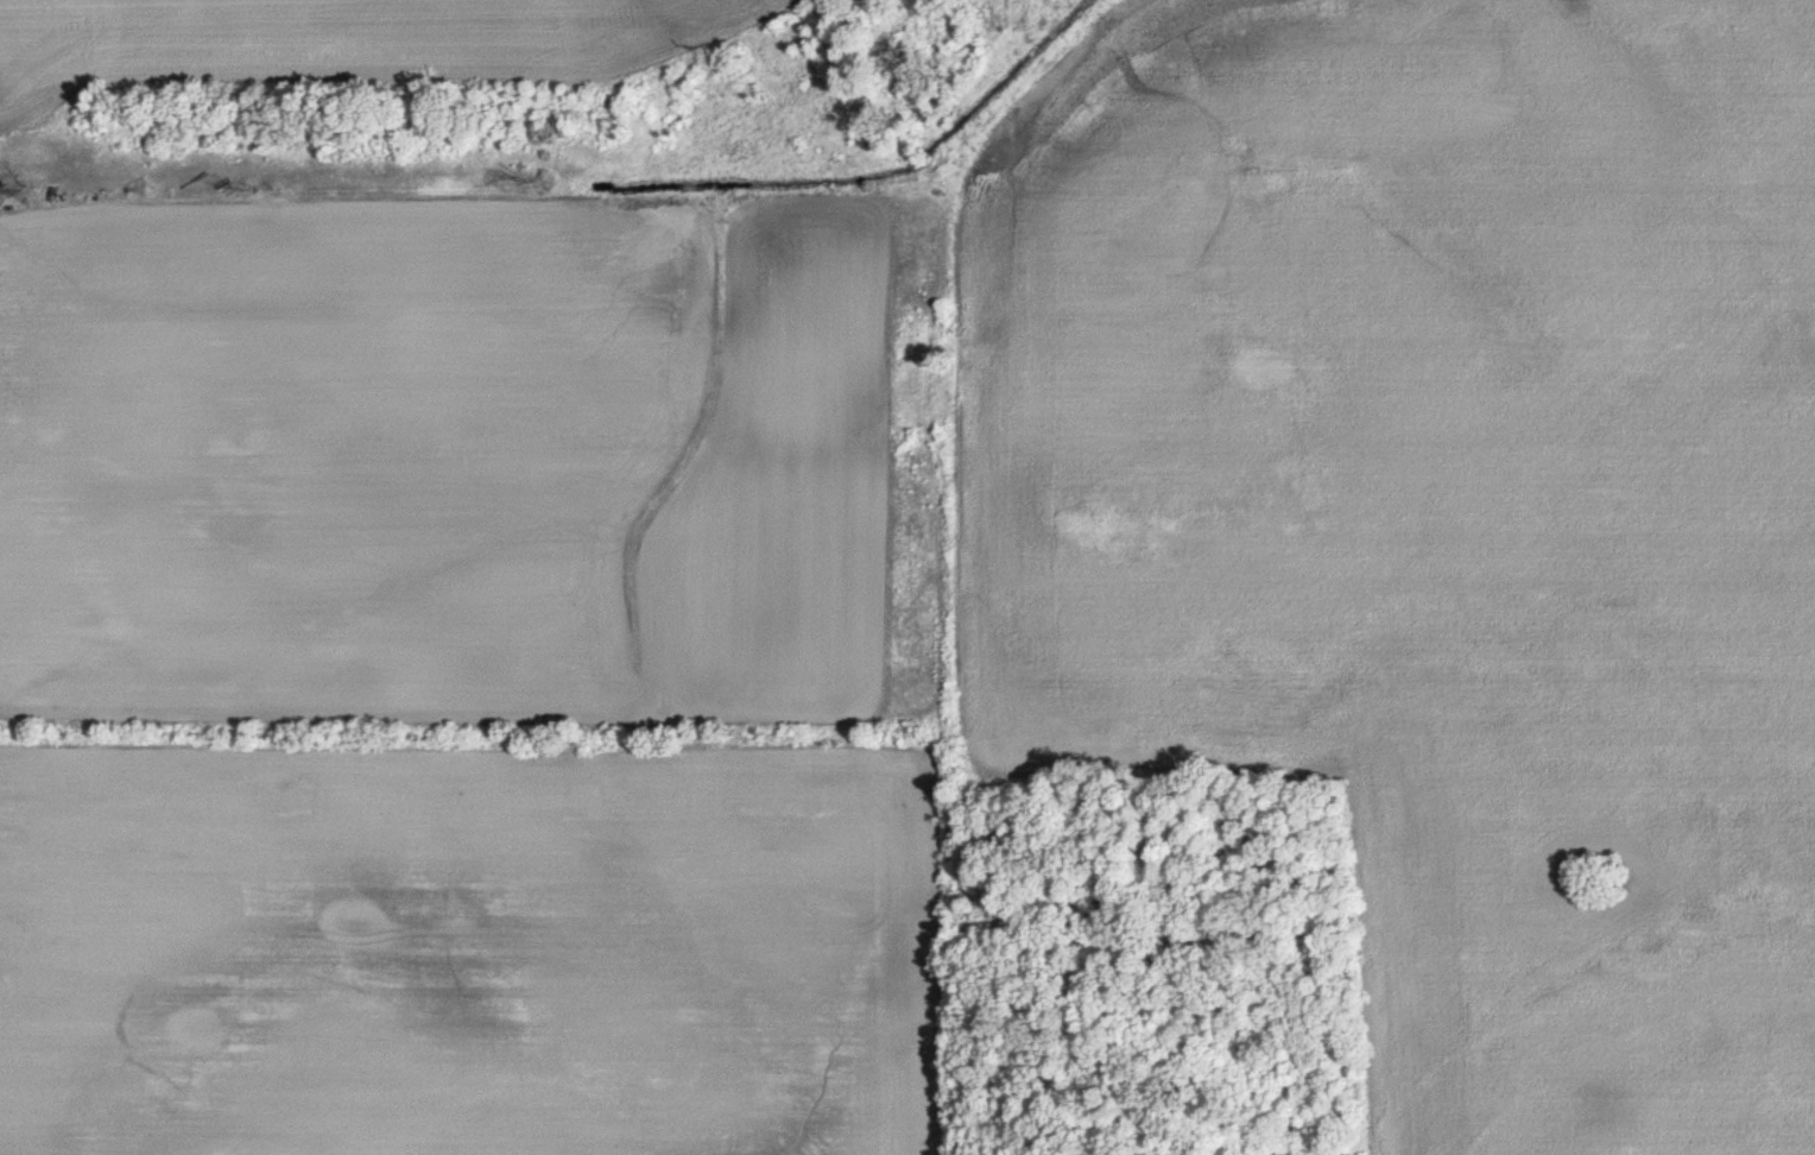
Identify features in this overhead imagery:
crop: (495, 25)
crop: (23, 68)
crop: (441, 465)
crop: (1453, 500)
crop: (460, 954)

